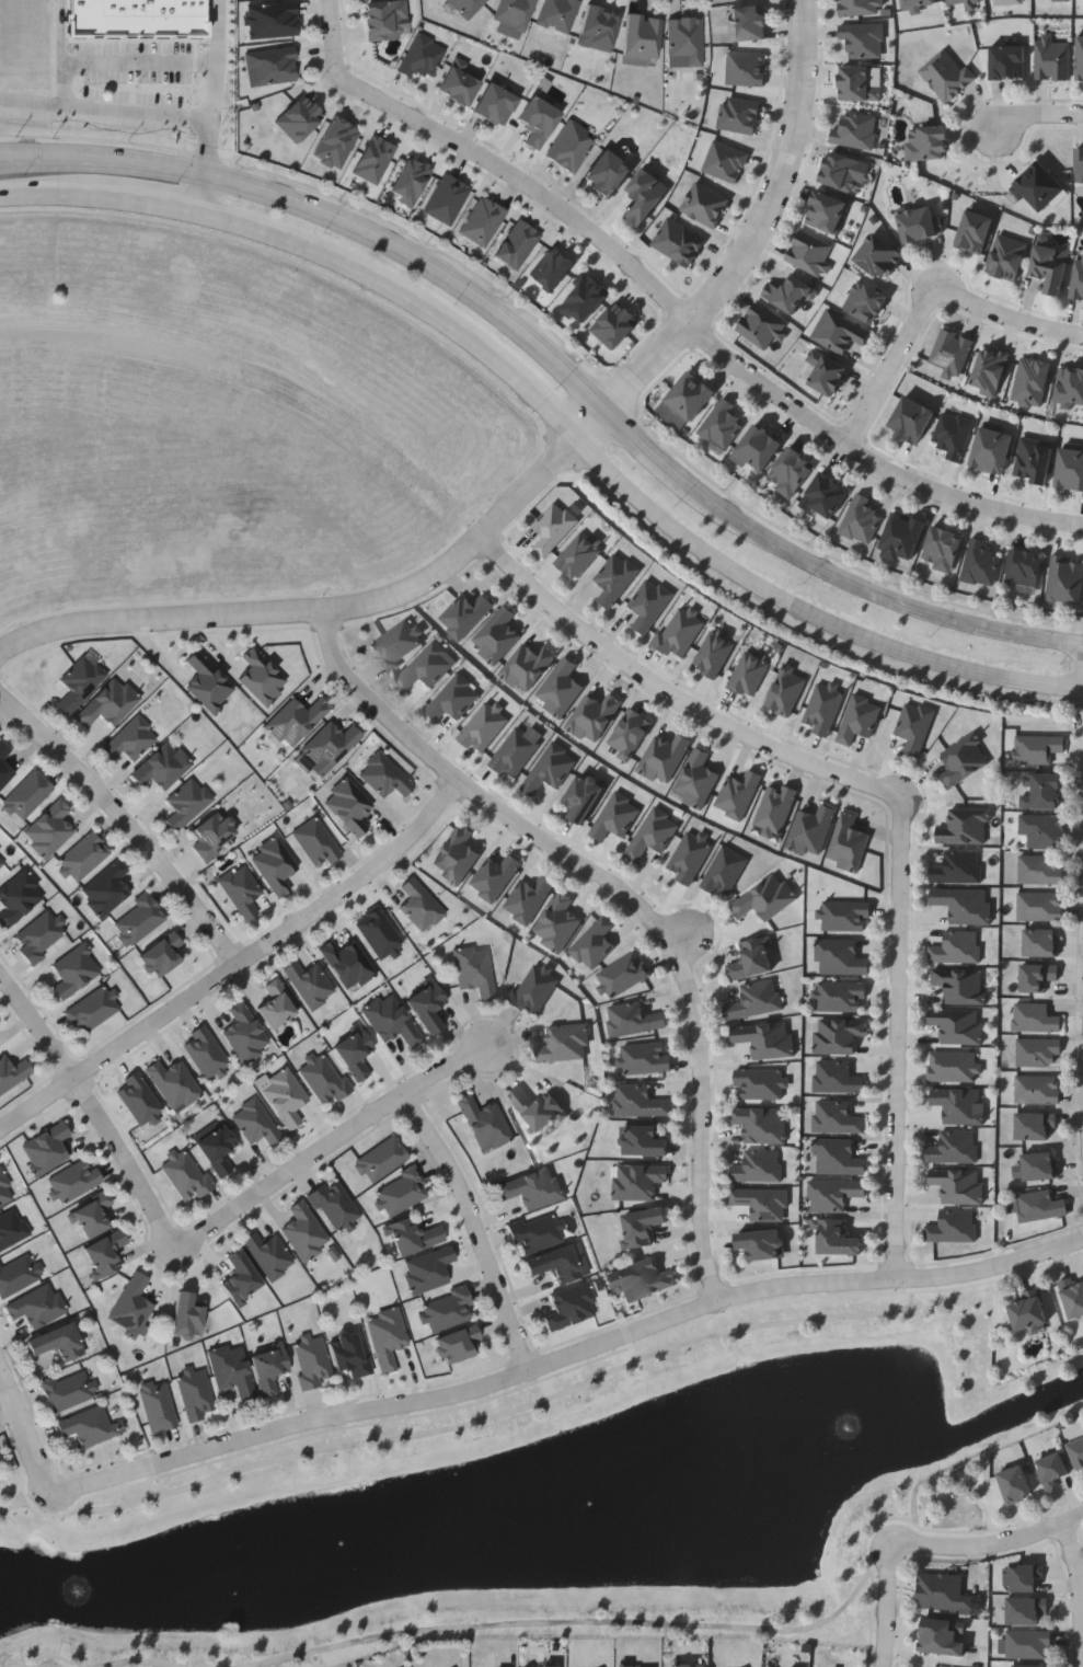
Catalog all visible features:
building: (1056, 0)
building: (967, 2)
building: (917, 3)
building: (466, 7)
building: (859, 7)
building: (515, 14)
building: (557, 14)
building: (385, 18)
building: (272, 19)
building: (748, 22)
building: (598, 27)
road: (62, 31)
building: (642, 35)
road: (333, 38)
building: (862, 41)
building: (685, 42)
building: (422, 56)
building: (1079, 58)
building: (1053, 60)
road: (218, 61)
building: (1009, 62)
road: (118, 64)
building: (272, 65)
building: (746, 68)
building: (946, 74)
building: (459, 82)
building: (861, 83)
building: (496, 104)
road: (130, 114)
building: (739, 114)
road: (1037, 117)
building: (539, 120)
building: (855, 130)
building: (928, 143)
building: (571, 146)
building: (1079, 168)
building: (840, 170)
building: (608, 174)
road: (526, 183)
building: (1042, 191)
road: (208, 194)
road: (59, 195)
building: (646, 195)
road: (160, 205)
building: (826, 211)
road: (334, 214)
building: (918, 223)
road: (761, 228)
building: (678, 242)
building: (809, 252)
building: (879, 255)
road: (347, 263)
building: (1053, 267)
building: (1076, 277)
building: (788, 292)
building: (866, 300)
road: (926, 306)
building: (761, 326)
building: (839, 331)
road: (1074, 334)
building: (950, 350)
building: (827, 372)
building: (1070, 384)
road: (530, 390)
building: (691, 394)
building: (911, 419)
road: (597, 423)
building: (722, 424)
building: (953, 434)
building: (760, 447)
road: (647, 448)
building: (992, 449)
road: (861, 453)
building: (1037, 461)
building: (1070, 469)
building: (791, 471)
building: (826, 495)
building: (861, 519)
road: (1073, 524)
building: (902, 537)
building: (943, 548)
building: (980, 562)
building: (1024, 566)
building: (1064, 579)
road: (863, 586)
road: (798, 602)
road: (320, 611)
road: (1071, 641)
building: (425, 667)
building: (79, 682)
building: (206, 682)
road: (1071, 688)
building: (453, 699)
building: (107, 702)
building: (297, 720)
building: (913, 726)
building: (483, 727)
building: (129, 739)
building: (331, 744)
building: (1040, 751)
building: (515, 752)
building: (964, 759)
building: (161, 766)
building: (549, 769)
building: (383, 775)
building: (26, 794)
building: (1047, 794)
road: (894, 795)
building: (584, 796)
building: (186, 802)
building: (348, 805)
building: (615, 816)
road: (124, 818)
building: (964, 827)
building: (48, 829)
building: (1046, 832)
building: (214, 833)
building: (652, 833)
building: (315, 841)
building: (83, 855)
building: (456, 855)
building: (689, 857)
building: (1, 860)
building: (273, 863)
building: (957, 867)
building: (724, 872)
building: (1042, 872)
building: (494, 876)
building: (106, 887)
building: (240, 889)
building: (18, 896)
road: (627, 897)
building: (764, 897)
building: (528, 898)
building: (418, 904)
building: (963, 904)
building: (1042, 908)
building: (138, 919)
building: (556, 922)
building: (378, 932)
building: (39, 933)
road: (684, 941)
building: (594, 942)
building: (1044, 944)
building: (956, 947)
building: (160, 954)
building: (839, 957)
building: (751, 958)
building: (347, 963)
road: (237, 966)
building: (73, 969)
building: (474, 969)
building: (1040, 978)
building: (309, 982)
building: (960, 985)
building: (533, 989)
building: (840, 996)
building: (754, 1000)
building: (276, 1004)
building: (426, 1004)
building: (92, 1009)
building: (390, 1019)
building: (633, 1019)
building: (1038, 1020)
road: (37, 1023)
building: (957, 1025)
building: (244, 1034)
building: (838, 1034)
building: (765, 1038)
building: (564, 1043)
building: (354, 1051)
building: (205, 1053)
building: (1040, 1055)
building: (644, 1058)
building: (953, 1066)
building: (13, 1072)
building: (836, 1077)
building: (323, 1078)
building: (173, 1083)
building: (759, 1083)
building: (1039, 1092)
building: (285, 1097)
building: (138, 1100)
building: (640, 1101)
building: (958, 1104)
building: (537, 1107)
building: (836, 1117)
building: (254, 1122)
building: (484, 1123)
building: (759, 1124)
building: (1037, 1128)
building: (643, 1141)
road: (333, 1143)
building: (954, 1147)
building: (45, 1148)
building: (217, 1149)
building: (380, 1158)
building: (838, 1158)
road: (131, 1162)
building: (757, 1165)
building: (1041, 1169)
building: (185, 1174)
building: (74, 1179)
building: (638, 1181)
building: (957, 1184)
building: (532, 1187)
building: (4, 1191)
building: (401, 1191)
building: (832, 1194)
building: (761, 1202)
building: (334, 1205)
building: (1044, 1208)
building: (92, 1215)
building: (642, 1226)
building: (952, 1227)
building: (11, 1228)
road: (477, 1228)
building: (303, 1230)
building: (534, 1231)
building: (414, 1235)
building: (837, 1238)
building: (760, 1243)
building: (104, 1252)
building: (268, 1254)
building: (554, 1263)
building: (428, 1268)
building: (16, 1273)
building: (240, 1276)
building: (640, 1278)
building: (1072, 1297)
building: (130, 1304)
building: (35, 1306)
building: (571, 1306)
building: (448, 1308)
building: (1030, 1314)
building: (186, 1315)
building: (385, 1336)
building: (57, 1342)
building: (457, 1344)
building: (348, 1353)
road: (568, 1358)
building: (311, 1360)
building: (268, 1368)
building: (232, 1370)
building: (66, 1390)
building: (194, 1393)
building: (157, 1405)
building: (89, 1426)
road: (25, 1433)
building: (1076, 1452)
building: (0, 1463)
building: (1052, 1469)
building: (1018, 1486)
road: (1073, 1519)
road: (980, 1545)
road: (1076, 1560)
building: (1026, 1580)
building: (942, 1593)
road: (885, 1608)
building: (1029, 1614)
building: (942, 1636)
building: (1032, 1646)
road: (931, 1659)
building: (689, 1665)

